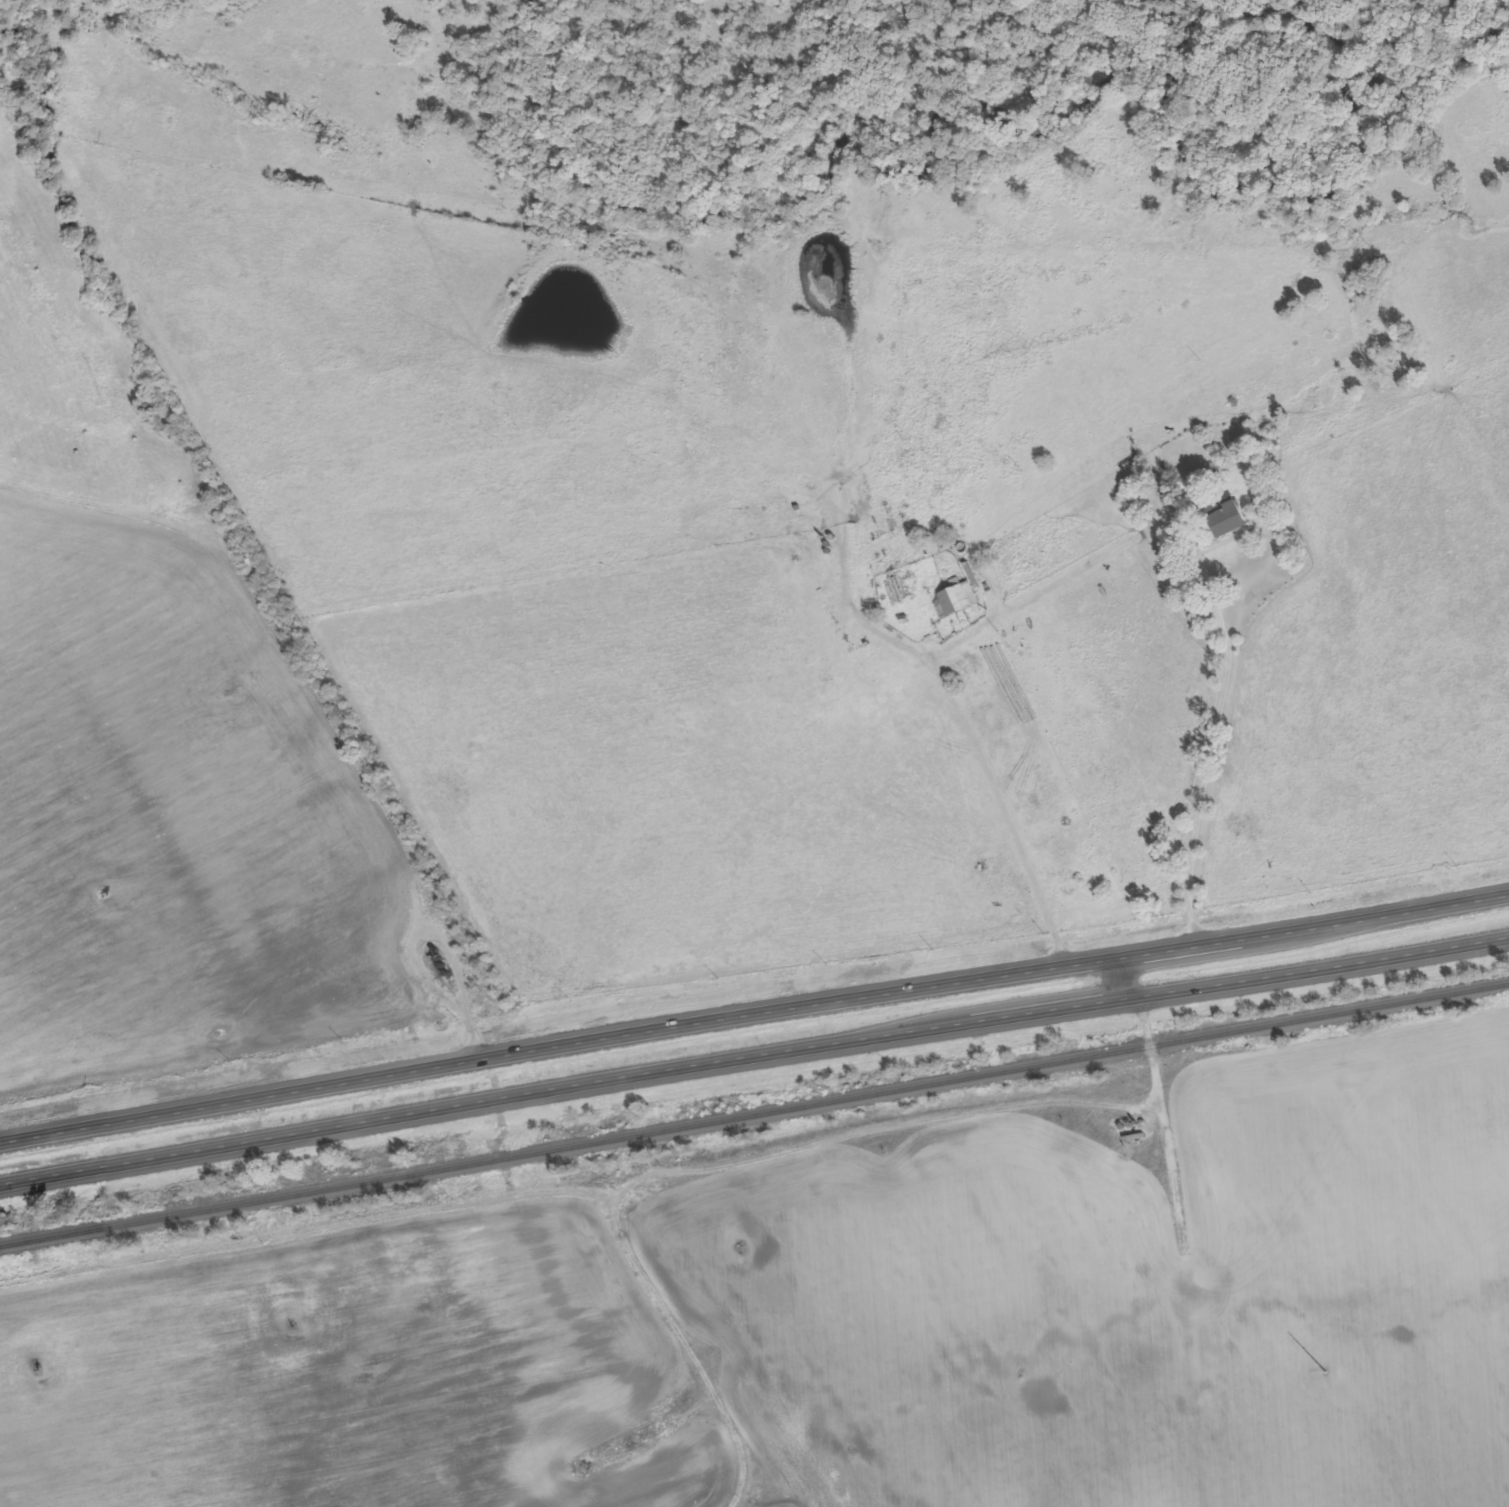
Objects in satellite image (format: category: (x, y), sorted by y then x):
building: (1223, 518)
road: (1042, 578)
building: (952, 599)
road: (1211, 715)
road: (406, 947)
road: (1300, 956)
road: (753, 1007)
road: (472, 1032)
road: (1151, 1047)
road: (545, 1087)
railway: (754, 1115)
building: (1135, 1140)

